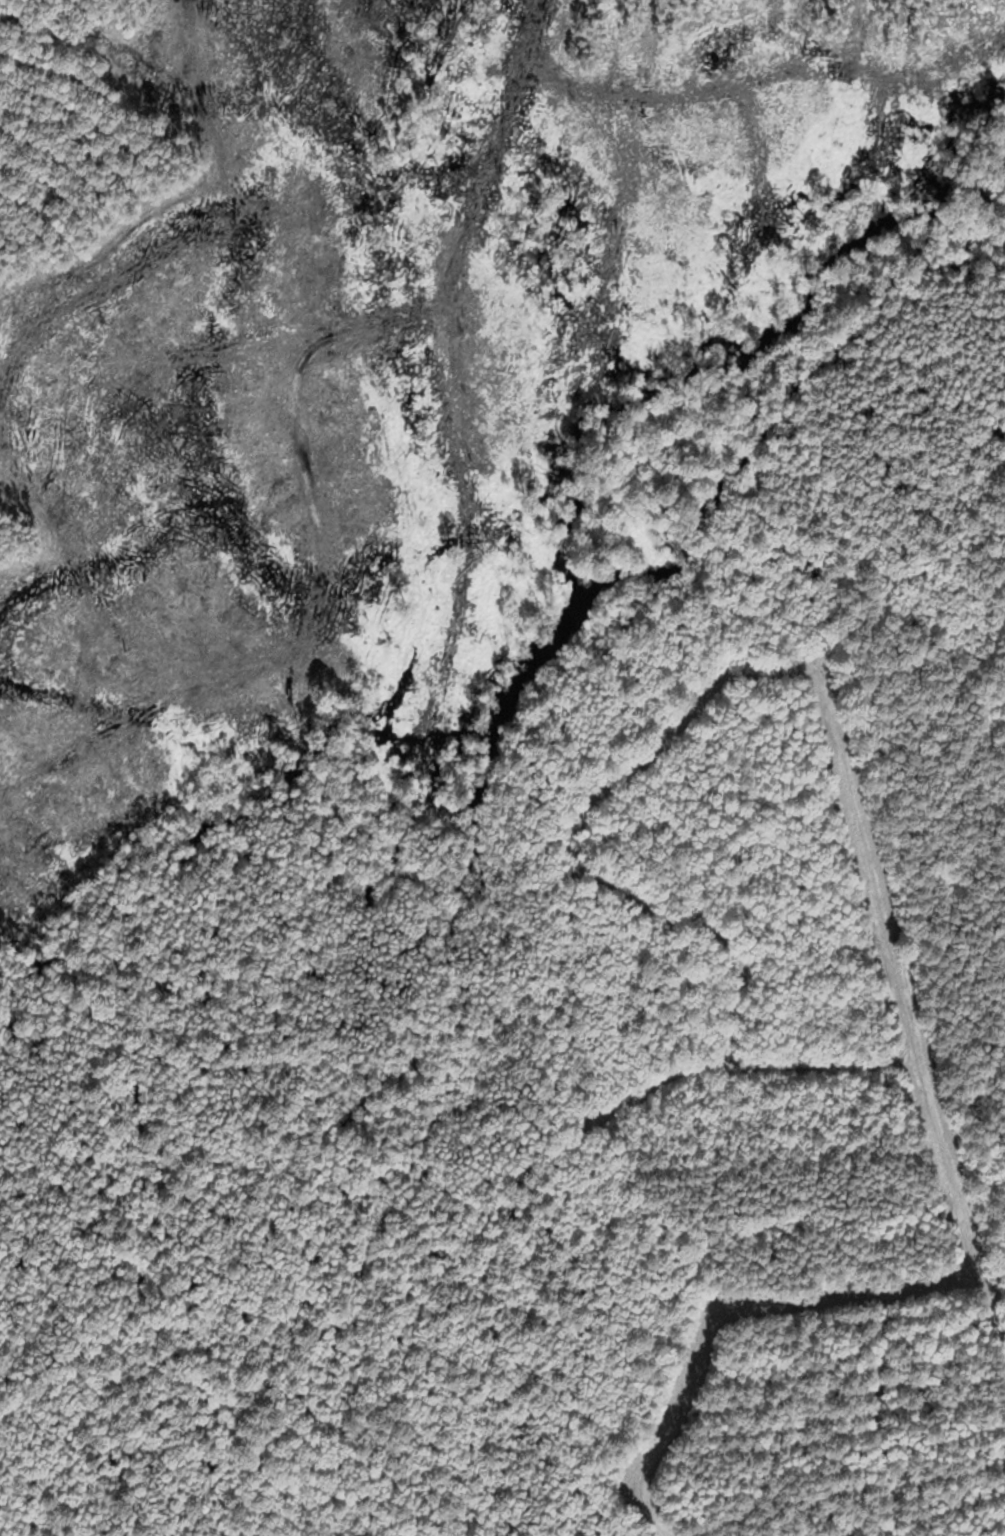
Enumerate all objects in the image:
road: (1, 1439)
road: (963, 1493)

